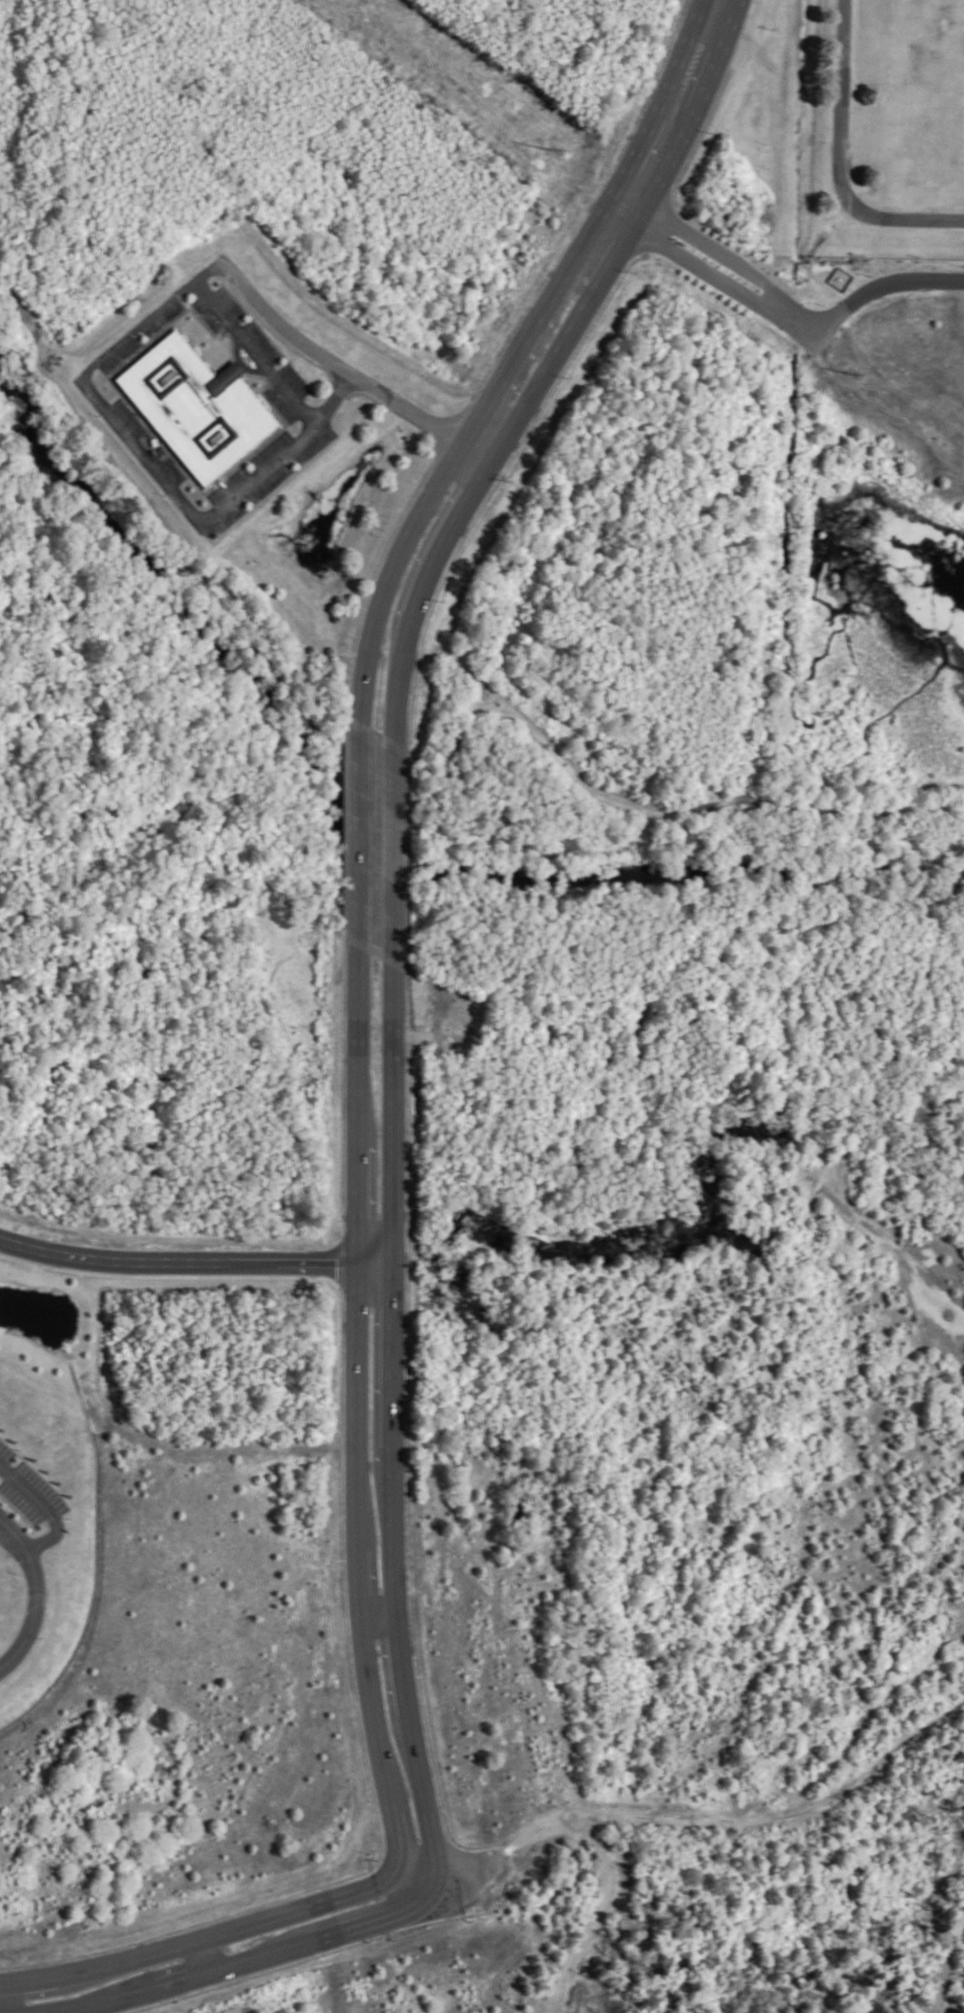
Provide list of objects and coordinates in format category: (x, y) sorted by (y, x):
power tower: (546, 147)
road: (837, 161)
road: (626, 202)
road: (650, 220)
road: (864, 291)
road: (773, 298)
road: (513, 355)
road: (547, 365)
power tower: (851, 371)
road: (343, 379)
road: (97, 405)
building: (195, 406)
road: (355, 835)
road: (390, 853)
road: (194, 1268)
road: (355, 1414)
road: (390, 1436)
parking lot: (25, 1494)
road: (41, 1514)
road: (30, 1598)
road: (377, 1622)
road: (205, 1937)
road: (199, 1957)
road: (247, 1961)
road: (3, 2000)

